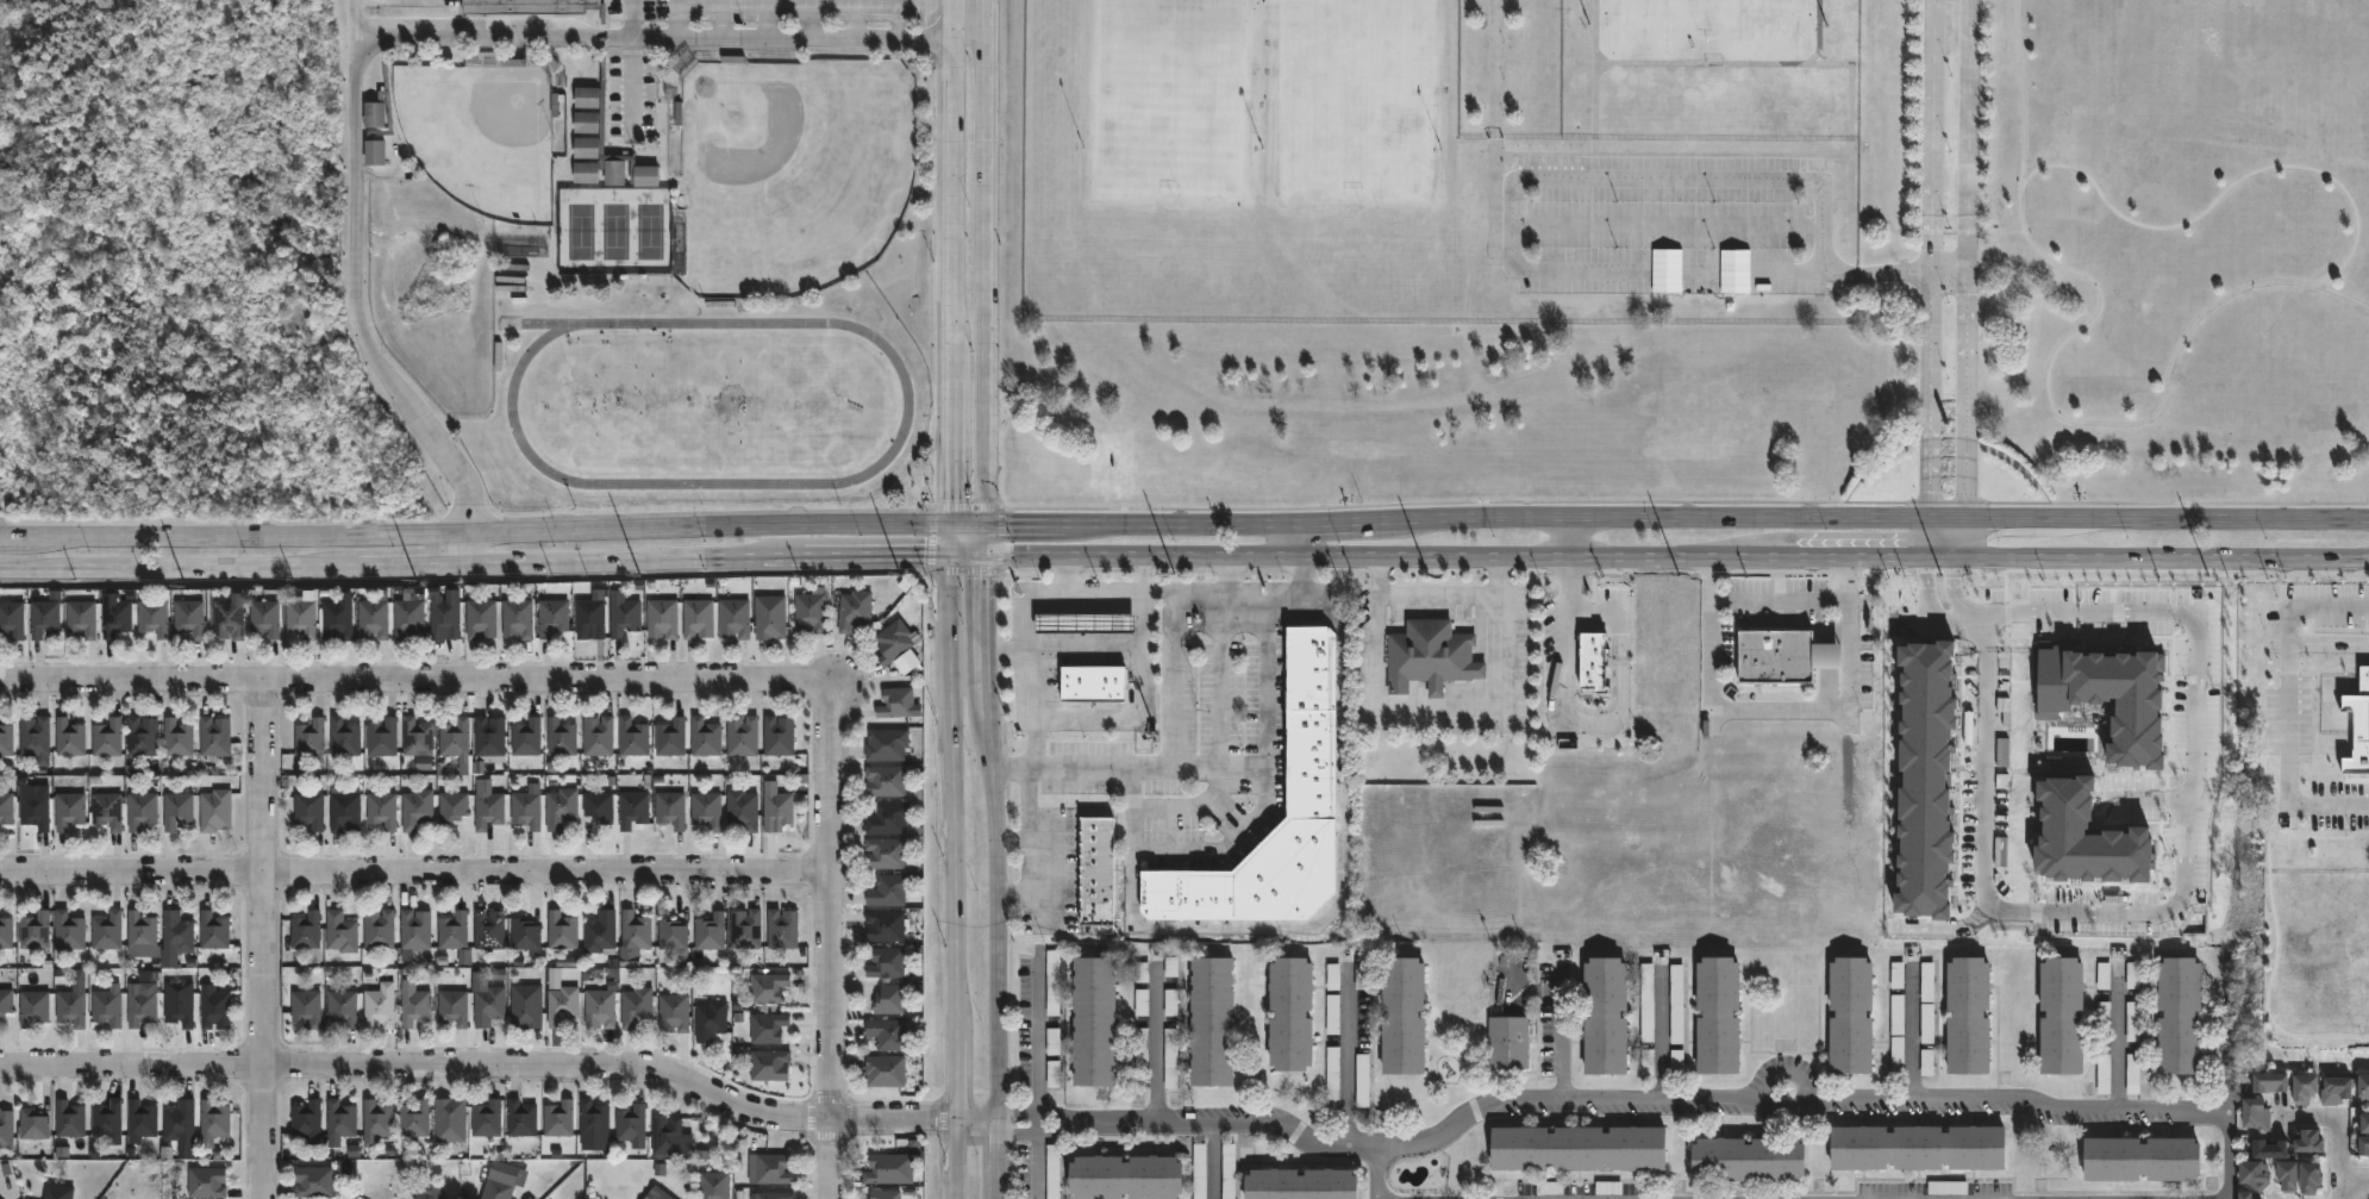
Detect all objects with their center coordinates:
building: (531, 6)
parking lot: (769, 7)
road: (361, 15)
road: (638, 17)
road: (685, 17)
road: (731, 17)
road: (774, 18)
road: (812, 18)
road: (858, 18)
road: (902, 18)
park: (1706, 25)
road: (374, 32)
road: (1825, 58)
road: (1707, 64)
road: (1601, 69)
road: (1594, 94)
park: (1350, 95)
park: (1174, 96)
building: (587, 99)
building: (374, 120)
building: (586, 124)
road: (1494, 125)
park: (482, 136)
road: (2023, 143)
road: (1594, 144)
building: (374, 155)
road: (1837, 155)
building: (608, 169)
park: (792, 171)
road: (1849, 176)
road: (1705, 179)
road: (2223, 194)
parking lot: (1668, 221)
road: (1658, 224)
park: (615, 231)
road: (951, 261)
road: (982, 261)
road: (1727, 274)
road: (1930, 277)
road: (1965, 277)
park: (707, 407)
road: (2127, 425)
track: (868, 473)
road: (1684, 500)
road: (967, 506)
road: (1674, 516)
traffic signals: (950, 523)
road: (965, 523)
traffic signals: (981, 523)
road: (475, 531)
road: (1568, 535)
road: (929, 537)
road: (950, 538)
road: (981, 538)
road: (999, 538)
road: (1296, 538)
traffic signals: (950, 554)
road: (965, 554)
traffic signals: (982, 554)
road: (1023, 554)
road: (1715, 555)
road: (475, 563)
road: (963, 570)
road: (1569, 583)
road: (1121, 591)
road: (1964, 592)
road: (1249, 593)
road: (1936, 598)
road: (1044, 599)
road: (1780, 600)
road: (982, 601)
building: (810, 610)
building: (854, 610)
building: (410, 614)
building: (301, 616)
building: (115, 617)
building: (152, 617)
building: (337, 617)
building: (373, 617)
building: (445, 617)
building: (552, 617)
building: (590, 617)
building: (625, 617)
building: (770, 617)
building: (12, 618)
building: (44, 618)
building: (81, 618)
building: (189, 618)
building: (264, 618)
building: (481, 618)
building: (662, 618)
building: (696, 618)
building: (733, 618)
building: (226, 619)
building: (517, 619)
building: (1086, 622)
gas station: (1086, 622)
road: (1377, 626)
building: (893, 641)
road: (1104, 644)
building: (1787, 655)
building: (1432, 656)
road: (414, 681)
road: (982, 681)
building: (1093, 683)
road: (1511, 695)
building: (895, 702)
road: (2296, 704)
road: (1032, 706)
road: (1779, 711)
road: (1617, 713)
road: (1120, 716)
building: (1312, 724)
building: (598, 735)
building: (777, 735)
building: (33, 736)
building: (142, 736)
building: (214, 736)
building: (489, 736)
building: (705, 736)
building: (742, 736)
road: (1219, 736)
building: (69, 737)
building: (177, 737)
building: (344, 737)
building: (415, 737)
building: (525, 737)
building: (560, 737)
building: (632, 737)
building: (670, 737)
building: (106, 738)
building: (311, 738)
building: (381, 738)
building: (6, 739)
building: (456, 739)
building: (886, 744)
road: (1220, 766)
road: (1061, 767)
building: (885, 780)
road: (1029, 803)
building: (452, 806)
building: (598, 806)
building: (6, 808)
building: (381, 808)
building: (415, 808)
building: (488, 808)
building: (527, 808)
building: (561, 808)
building: (632, 808)
building: (670, 808)
building: (32, 810)
building: (69, 810)
building: (107, 810)
building: (142, 810)
building: (177, 810)
building: (215, 810)
building: (308, 810)
building: (707, 810)
building: (742, 810)
building: (776, 810)
building: (344, 811)
building: (887, 818)
road: (1154, 847)
building: (885, 853)
road: (1054, 862)
building: (1089, 870)
road: (415, 872)
road: (954, 876)
road: (2192, 887)
building: (890, 888)
building: (885, 925)
building: (746, 928)
building: (377, 929)
building: (488, 929)
building: (781, 929)
building: (107, 930)
building: (213, 930)
building: (306, 930)
building: (635, 930)
building: (35, 931)
building: (69, 931)
building: (562, 931)
building: (600, 931)
building: (6, 932)
building: (140, 932)
building: (177, 932)
building: (340, 932)
building: (414, 932)
building: (455, 933)
building: (670, 933)
building: (708, 935)
building: (525, 936)
road: (262, 939)
road: (831, 941)
road: (999, 956)
building: (885, 962)
building: (1331, 979)
building: (1052, 982)
building: (767, 987)
road: (1538, 989)
building: (888, 999)
building: (5, 1001)
building: (1927, 1003)
building: (561, 1004)
building: (413, 1005)
building: (107, 1006)
building: (179, 1006)
building: (379, 1006)
building: (488, 1006)
building: (525, 1006)
building: (635, 1006)
building: (32, 1007)
building: (70, 1007)
building: (142, 1007)
building: (305, 1007)
building: (342, 1007)
building: (454, 1007)
building: (599, 1008)
building: (214, 1010)
building: (671, 1013)
building: (1288, 1013)
building: (1401, 1014)
building: (1333, 1016)
building: (1604, 1016)
building: (1718, 1016)
building: (1850, 1016)
building: (1968, 1016)
building: (2062, 1016)
building: (2180, 1016)
building: (710, 1020)
building: (1092, 1020)
building: (1209, 1022)
building: (767, 1028)
building: (888, 1033)
road: (1563, 1033)
road: (1912, 1033)
road: (1661, 1036)
building: (1896, 1037)
road: (2117, 1039)
road: (1038, 1041)
road: (1157, 1043)
building: (1505, 1043)
road: (2230, 1045)
road: (1348, 1061)
building: (769, 1064)
road: (483, 1069)
building: (886, 1072)
building: (1332, 1079)
building: (1362, 1082)
building: (2273, 1082)
building: (2364, 1087)
building: (2307, 1088)
building: (2338, 1089)
road: (1804, 1100)
building: (2259, 1114)
building: (414, 1118)
building: (487, 1118)
building: (521, 1118)
building: (558, 1118)
building: (69, 1119)
building: (107, 1119)
building: (342, 1119)
building: (377, 1119)
building: (450, 1119)
building: (593, 1119)
building: (140, 1120)
building: (307, 1120)
road: (2340, 1120)
building: (180, 1122)
building: (213, 1122)
building: (632, 1123)
building: (32, 1124)
building: (2364, 1125)
road: (1165, 1126)
building: (6, 1130)
building: (670, 1138)
building: (2311, 1141)
building: (2364, 1145)
building: (1577, 1148)
building: (1918, 1148)
building: (2273, 1149)
building: (1748, 1159)
building: (2143, 1159)
road: (1038, 1161)
road: (1214, 1162)
building: (769, 1169)
building: (882, 1169)
building: (2257, 1174)
building: (2292, 1175)
building: (1124, 1178)
building: (2314, 1178)
road: (2355, 1180)
building: (313, 1181)
building: (206, 1182)
building: (1300, 1184)
building: (714, 1185)
building: (496, 1189)
road: (2342, 1189)
building: (56, 1191)
building: (430, 1191)
building: (886, 1194)
building: (662, 1195)
building: (774, 1195)
building: (2251, 1195)

